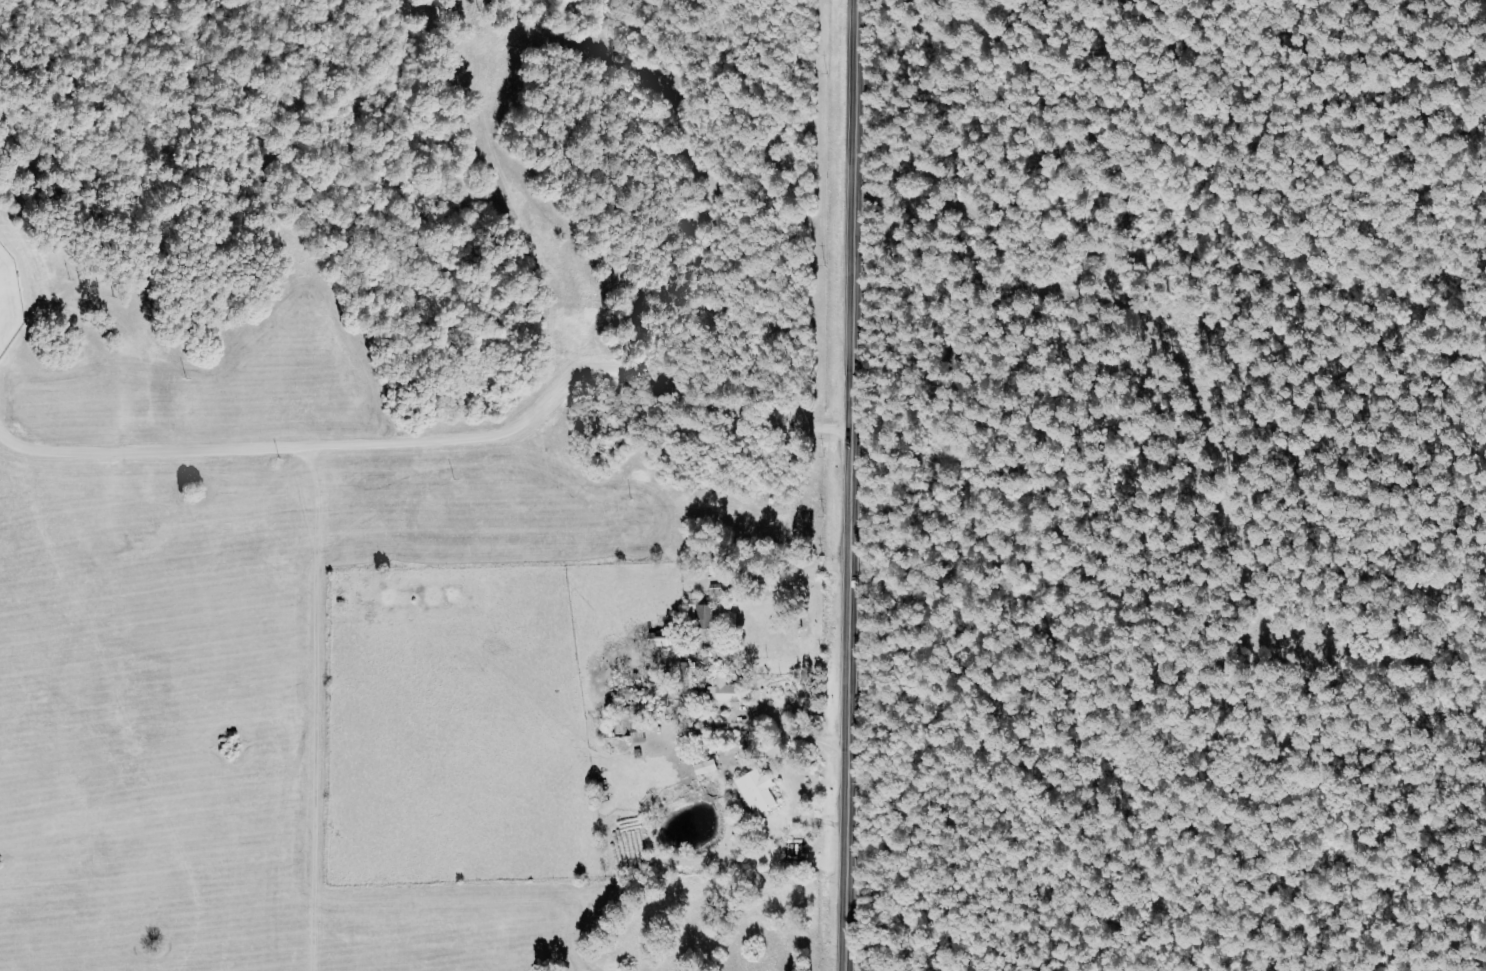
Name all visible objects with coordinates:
road: (426, 438)
road: (846, 485)
building: (704, 614)
building: (664, 639)
building: (728, 690)
building: (709, 766)
building: (759, 790)

